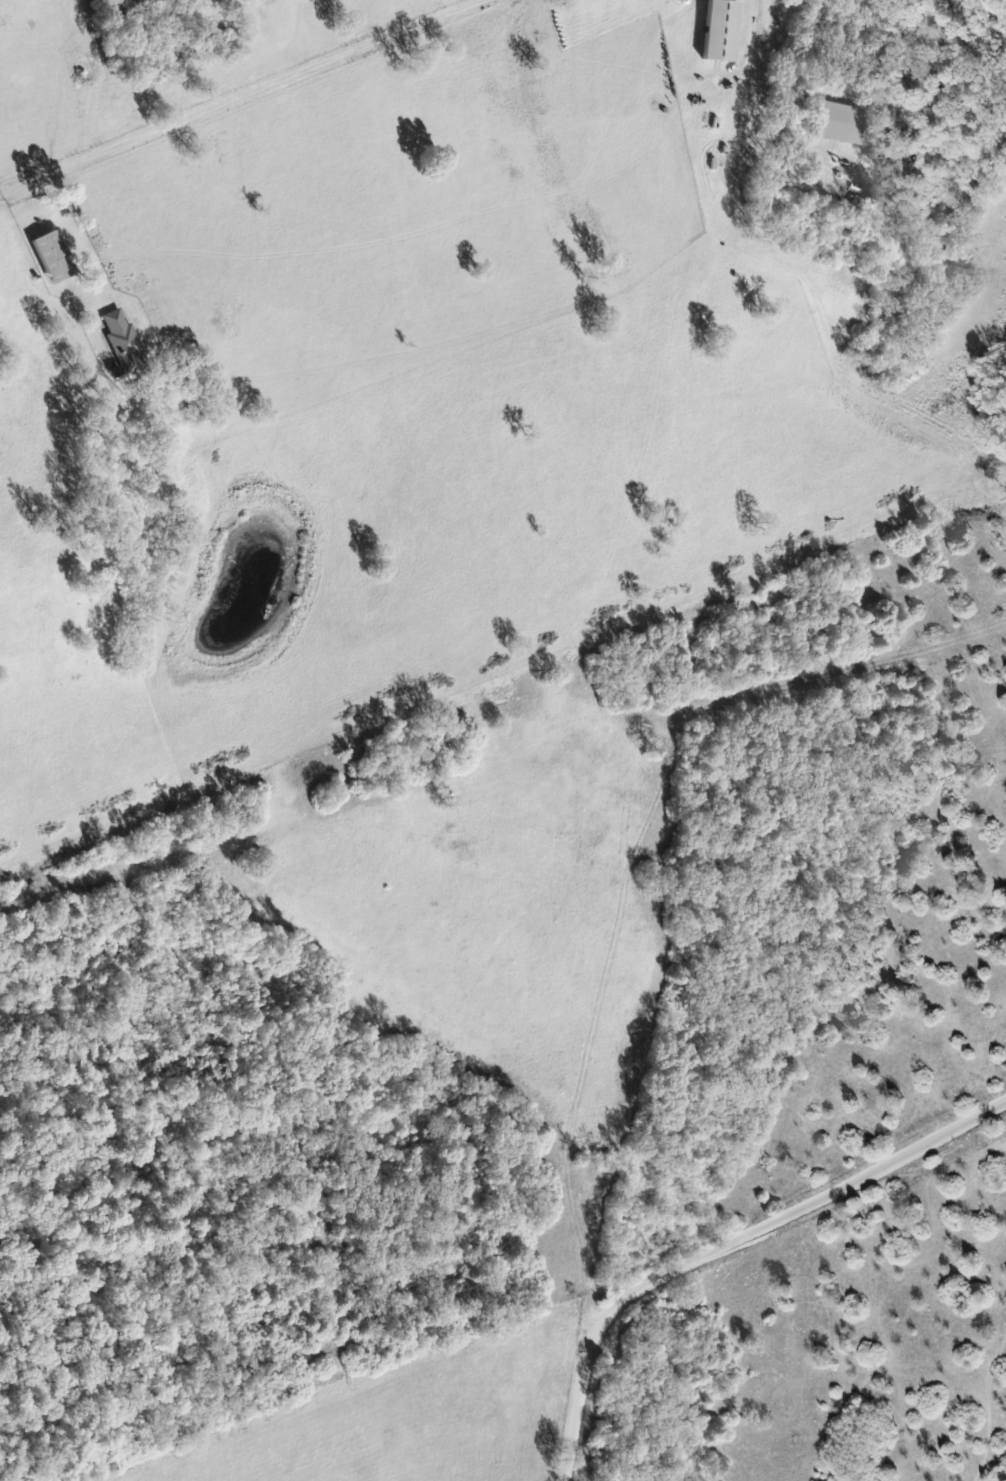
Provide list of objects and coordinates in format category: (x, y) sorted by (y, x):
building: (716, 30)
building: (837, 124)
building: (47, 258)
road: (631, 574)
road: (731, 1254)

